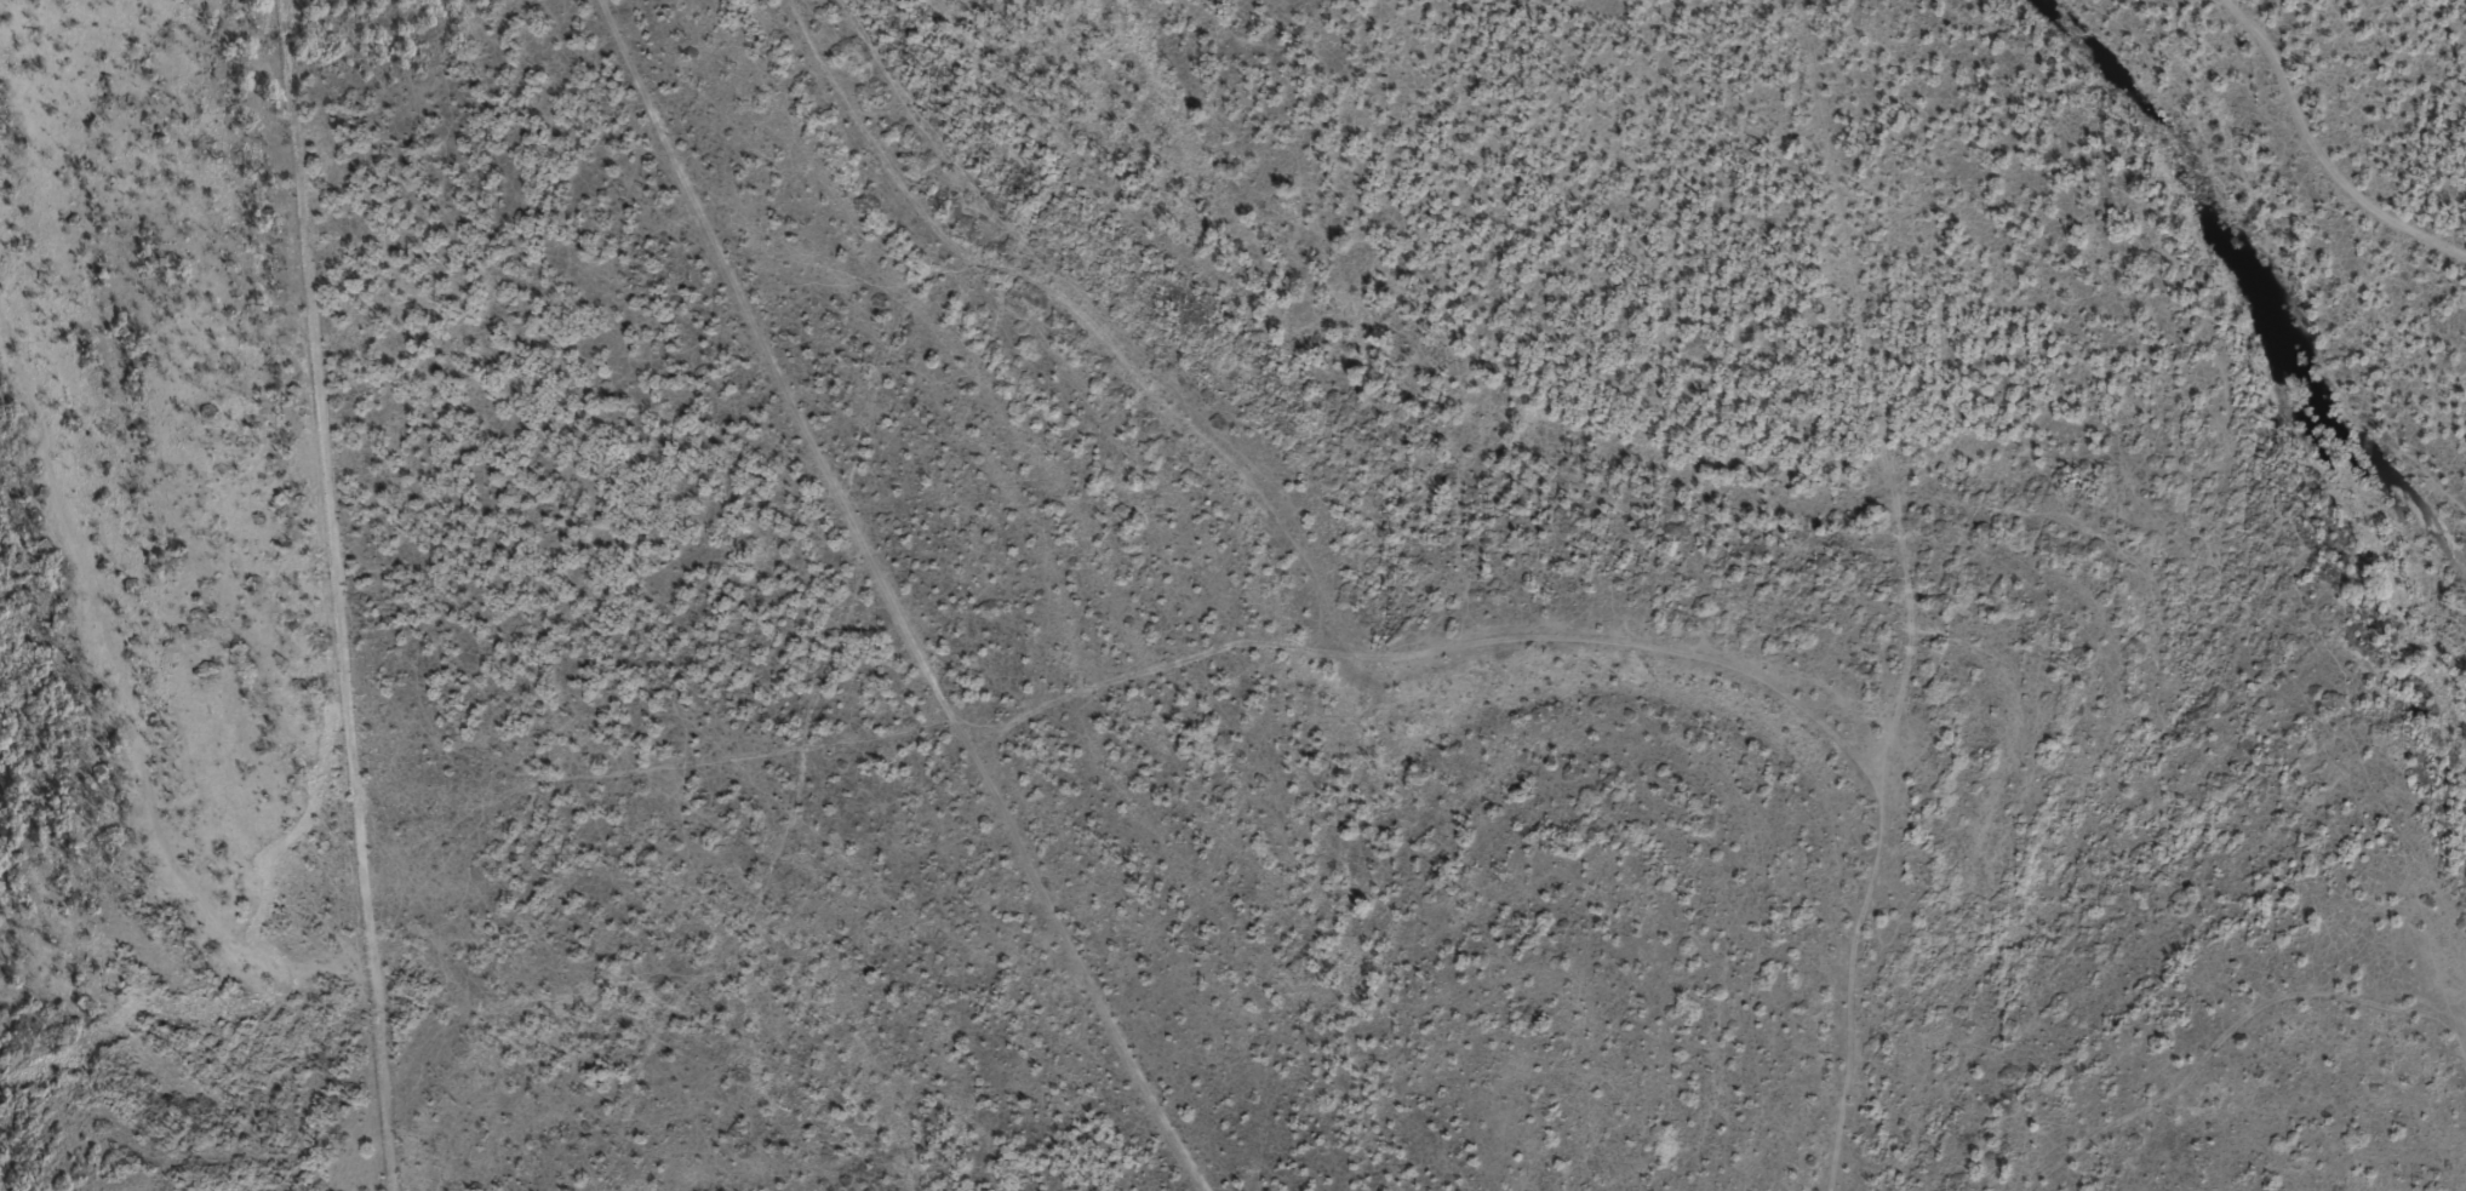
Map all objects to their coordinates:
road: (2307, 145)
road: (874, 597)

